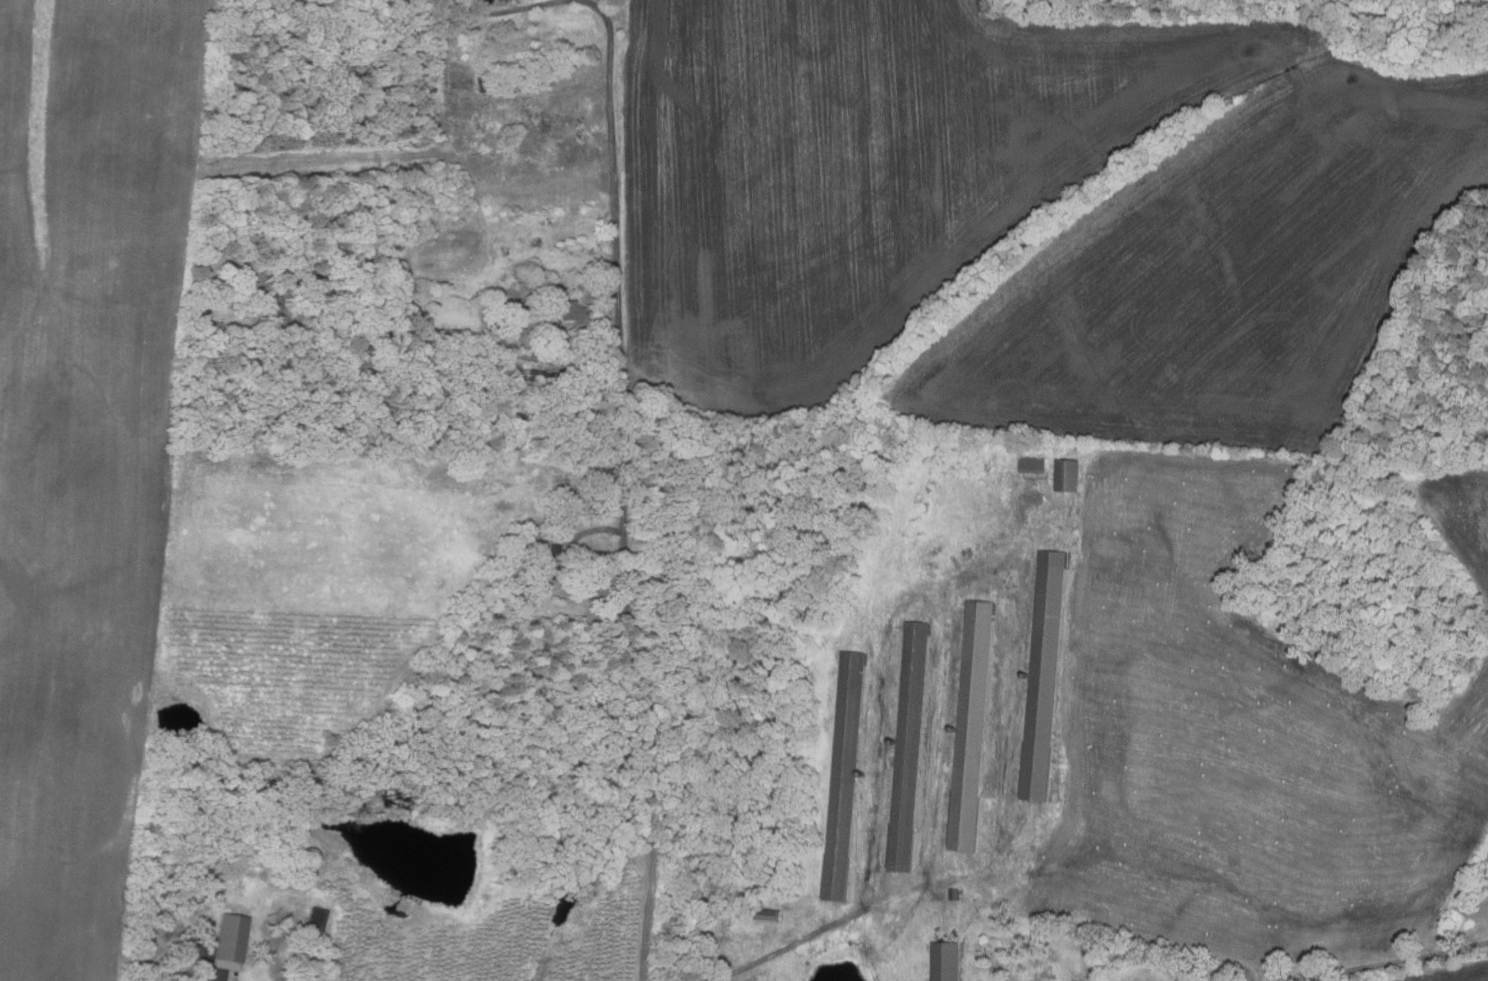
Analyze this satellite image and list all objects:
road: (589, 1)
building: (485, 2)
road: (513, 9)
building: (481, 84)
building: (476, 119)
crop: (1031, 210)
crop: (1031, 210)
building: (310, 261)
building: (282, 275)
building: (307, 287)
building: (243, 294)
building: (567, 313)
building: (214, 326)
building: (581, 340)
building: (597, 346)
building: (561, 376)
building: (541, 377)
crop: (143, 465)
building: (1037, 465)
building: (1071, 475)
road: (621, 494)
crop: (1456, 513)
building: (552, 562)
building: (1045, 676)
building: (973, 726)
crop: (1248, 741)
building: (911, 747)
building: (847, 778)
building: (957, 895)
building: (762, 915)
building: (317, 920)
building: (170, 921)
building: (206, 927)
building: (231, 939)
road: (795, 945)
road: (176, 949)
building: (707, 955)
building: (261, 958)
building: (947, 962)
road: (1395, 962)
crop: (1458, 974)

